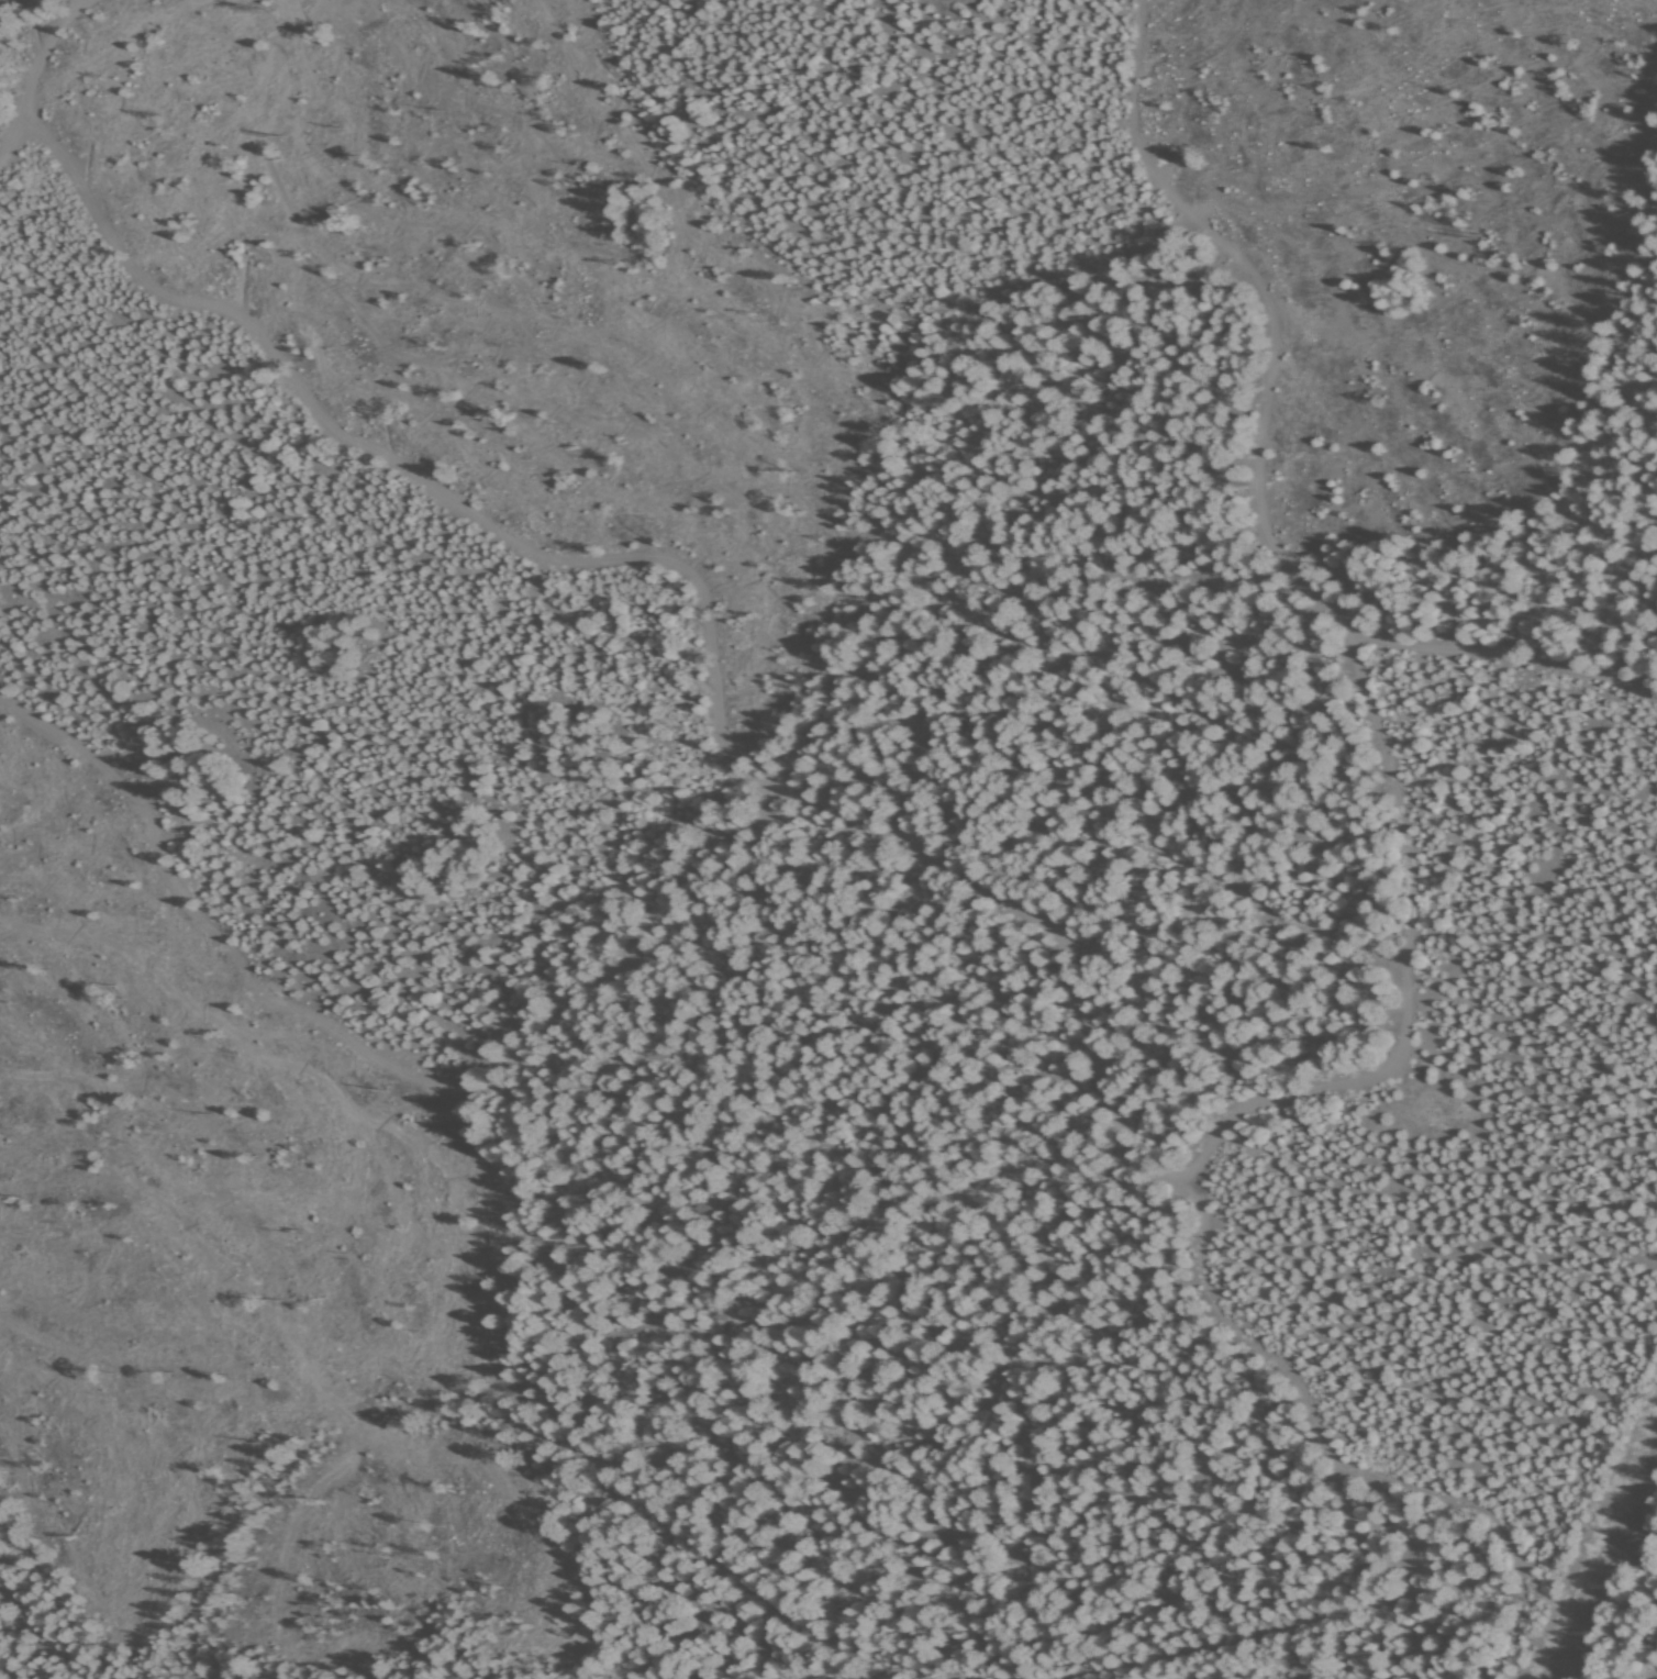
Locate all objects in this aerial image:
road: (43, 74)
road: (1599, 1555)

